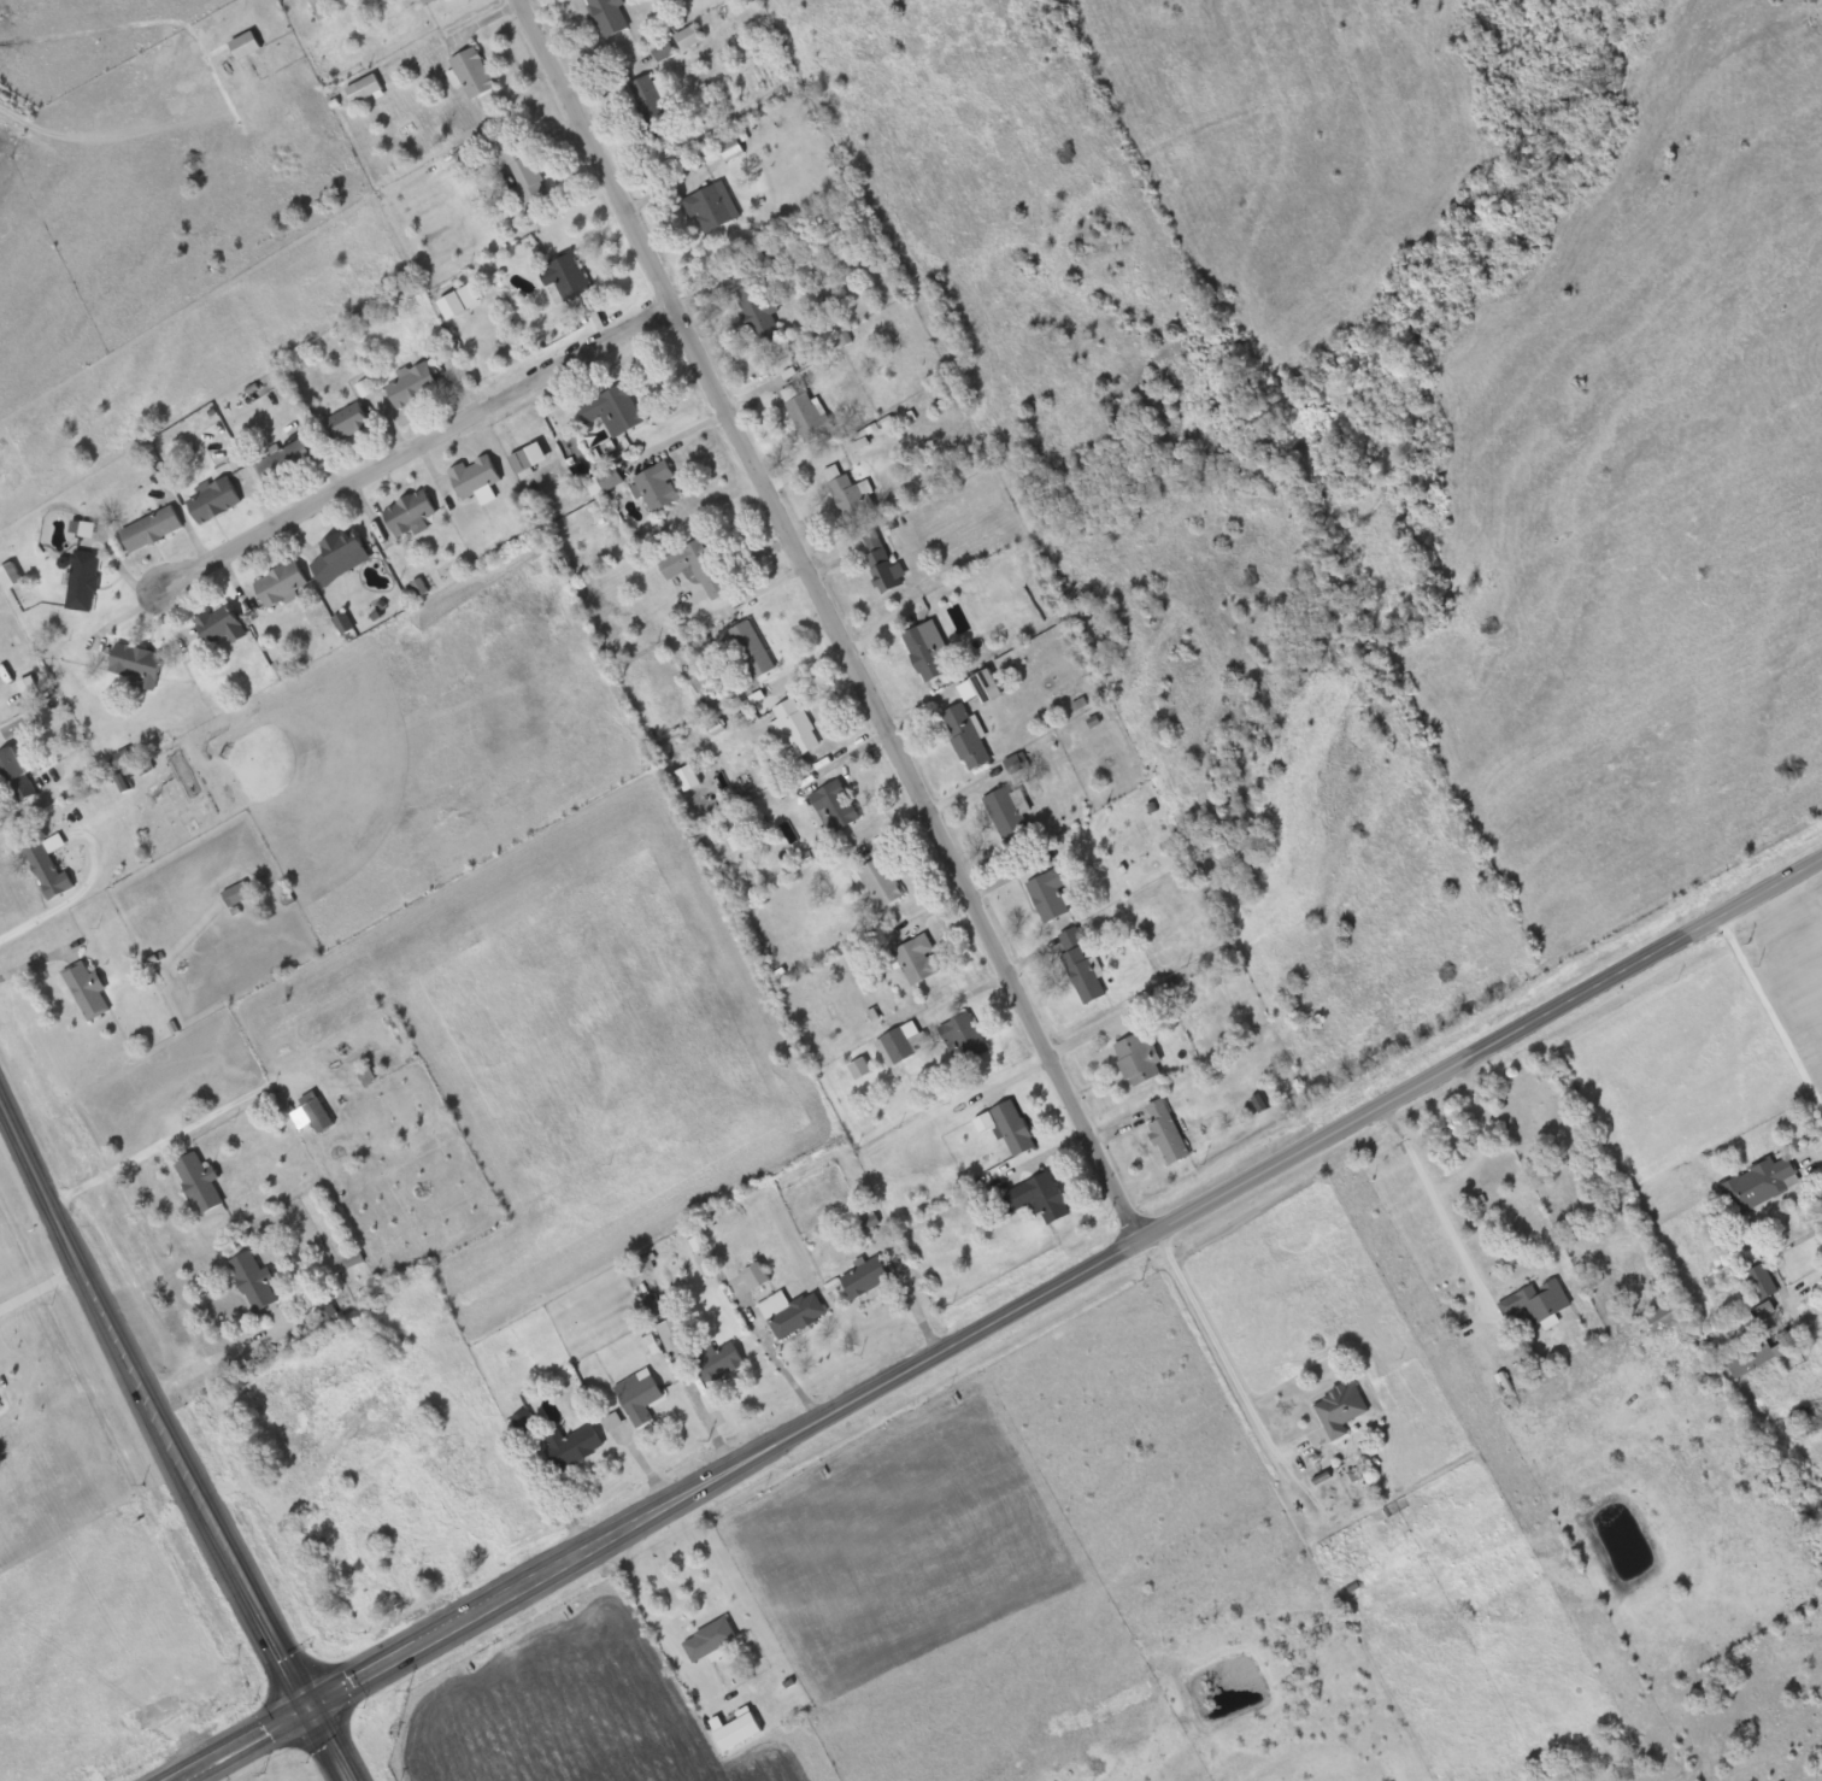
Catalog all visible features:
building: (429, 2)
building: (609, 17)
building: (688, 39)
building: (246, 47)
building: (472, 74)
building: (370, 88)
building: (653, 110)
building: (731, 149)
building: (523, 174)
building: (711, 207)
building: (565, 276)
building: (759, 313)
building: (411, 387)
building: (613, 408)
building: (810, 417)
building: (349, 422)
road: (422, 452)
building: (530, 458)
building: (287, 460)
building: (476, 476)
building: (606, 480)
building: (657, 486)
building: (846, 494)
building: (214, 499)
building: (410, 515)
building: (152, 529)
building: (341, 554)
building: (883, 565)
building: (697, 568)
building: (11, 575)
building: (83, 581)
building: (282, 583)
road: (825, 621)
building: (222, 624)
building: (752, 649)
building: (927, 649)
building: (137, 663)
building: (794, 727)
building: (965, 736)
building: (17, 775)
building: (836, 804)
building: (1007, 811)
building: (48, 871)
building: (880, 884)
building: (237, 894)
building: (1050, 895)
building: (917, 960)
building: (1082, 970)
building: (87, 991)
road: (1768, 1015)
building: (964, 1040)
building: (898, 1045)
building: (1139, 1059)
building: (860, 1069)
building: (319, 1115)
building: (1009, 1128)
building: (1165, 1132)
road: (1820, 1171)
building: (200, 1182)
building: (1762, 1183)
building: (1038, 1199)
road: (1439, 1212)
building: (758, 1276)
building: (865, 1279)
building: (254, 1282)
building: (1763, 1282)
road: (43, 1300)
building: (1538, 1301)
building: (792, 1313)
road: (998, 1317)
building: (675, 1334)
building: (1762, 1342)
building: (718, 1363)
road: (1224, 1365)
building: (640, 1397)
building: (1340, 1410)
road: (171, 1444)
building: (572, 1447)
road: (652, 1621)
building: (710, 1640)
traffic signals: (306, 1707)

